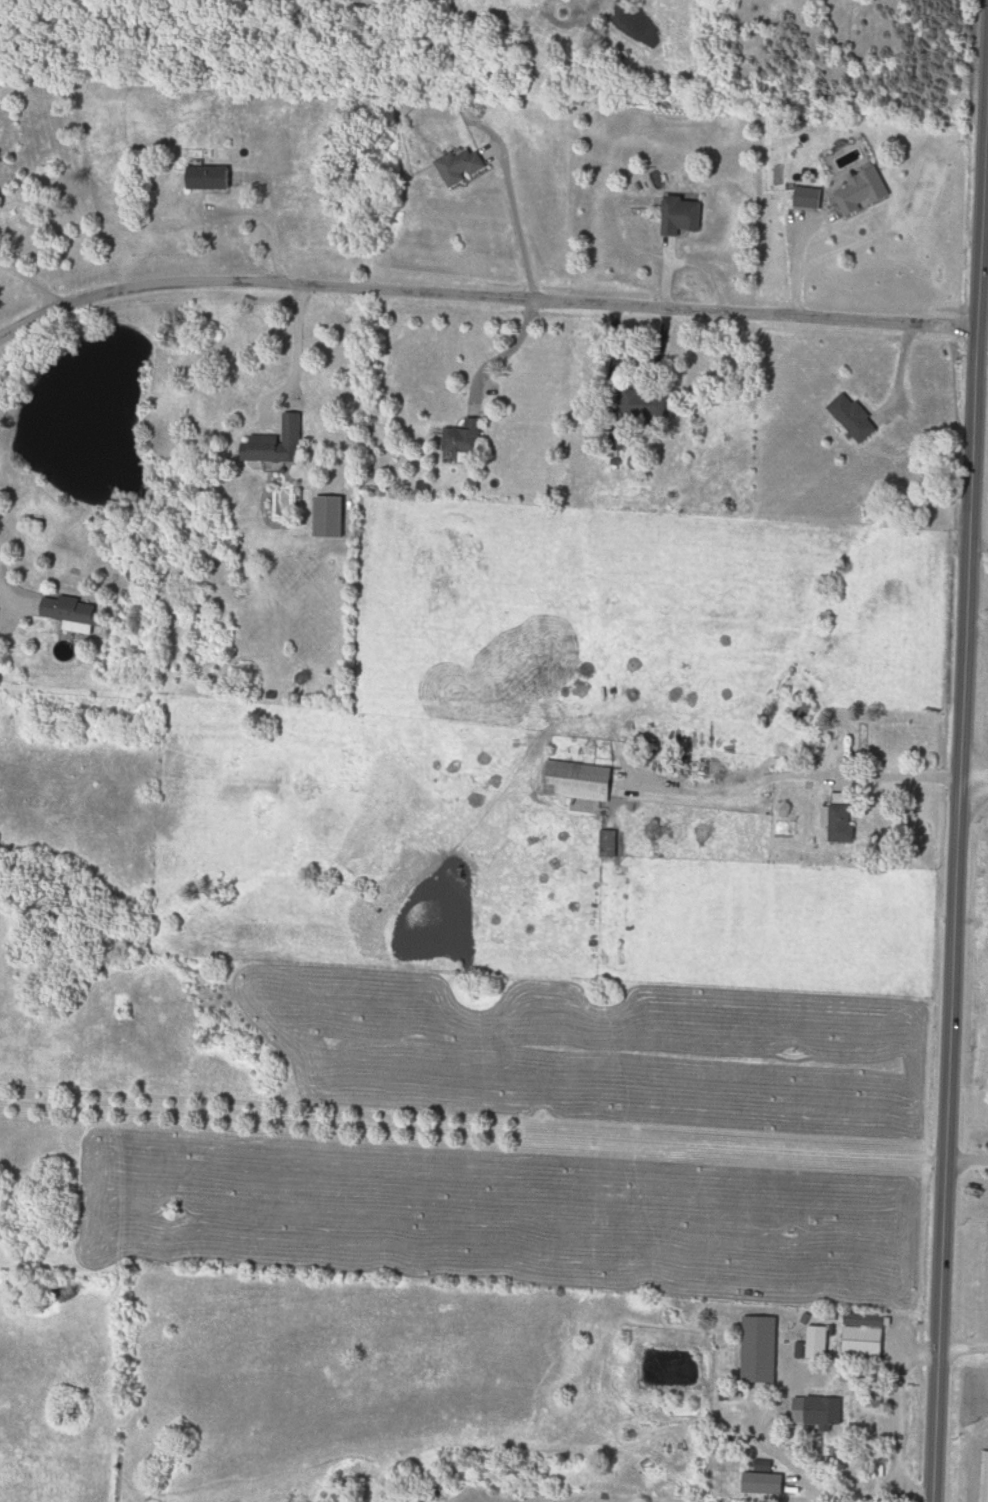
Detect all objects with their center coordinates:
building: (462, 165)
building: (209, 177)
building: (863, 192)
building: (810, 197)
building: (682, 215)
road: (519, 225)
road: (795, 264)
road: (697, 265)
road: (33, 279)
road: (482, 298)
road: (502, 358)
road: (295, 375)
building: (856, 418)
building: (276, 442)
building: (464, 443)
road: (978, 549)
road: (5, 586)
building: (71, 614)
road: (976, 627)
road: (801, 769)
road: (960, 772)
building: (593, 783)
road: (974, 790)
building: (846, 831)
building: (609, 845)
road: (472, 1137)
road: (967, 1162)
building: (865, 1344)
road: (963, 1351)
building: (821, 1412)
building: (766, 1484)

